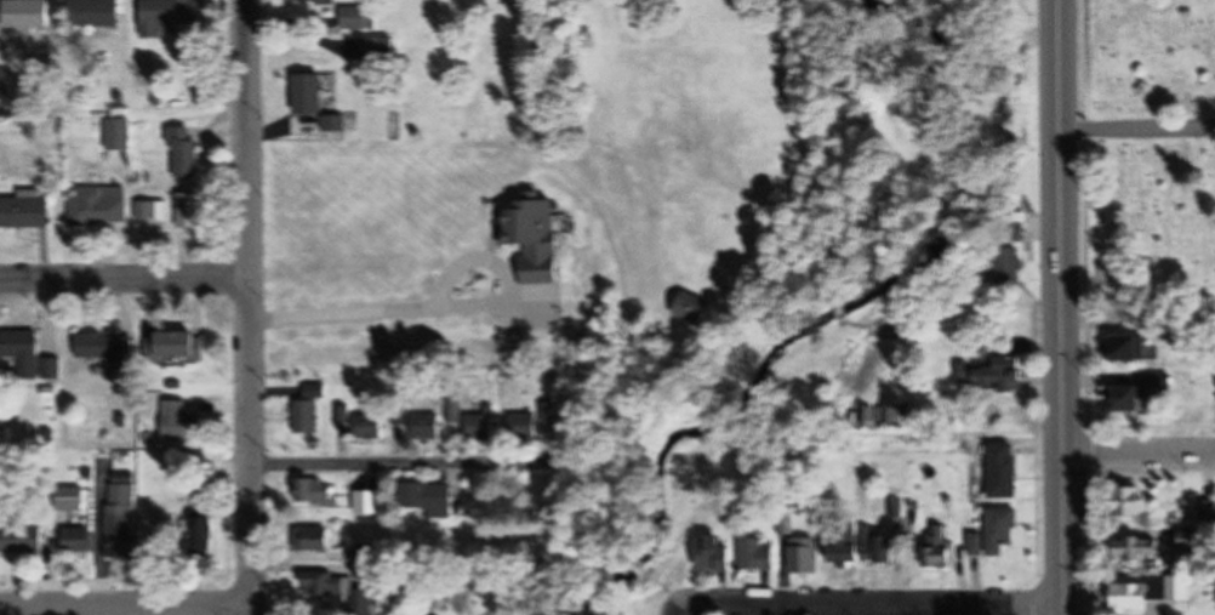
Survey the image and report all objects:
building: (318, 1)
building: (29, 13)
building: (96, 13)
building: (170, 13)
building: (359, 18)
building: (380, 50)
building: (312, 95)
road: (1136, 132)
building: (186, 152)
park: (1150, 152)
building: (101, 209)
building: (190, 211)
building: (29, 212)
building: (152, 212)
building: (537, 239)
building: (1009, 267)
road: (122, 278)
road: (246, 307)
road: (1057, 307)
road: (439, 309)
building: (178, 346)
building: (107, 347)
building: (1125, 348)
building: (24, 351)
building: (996, 369)
building: (316, 392)
building: (1126, 398)
building: (454, 411)
building: (889, 412)
building: (307, 417)
building: (401, 417)
building: (184, 423)
building: (481, 426)
building: (524, 426)
building: (371, 427)
building: (427, 427)
road: (1136, 455)
road: (390, 465)
building: (1004, 471)
building: (316, 491)
building: (124, 495)
building: (428, 499)
building: (376, 501)
building: (1131, 501)
building: (1208, 512)
building: (1002, 530)
building: (202, 535)
building: (121, 537)
building: (22, 539)
building: (318, 539)
building: (78, 540)
building: (1191, 540)
building: (976, 546)
building: (860, 547)
building: (940, 549)
building: (1140, 549)
building: (717, 553)
building: (757, 556)
building: (804, 556)
building: (344, 592)
building: (1148, 593)
road: (868, 603)
road: (125, 605)
road: (675, 610)

